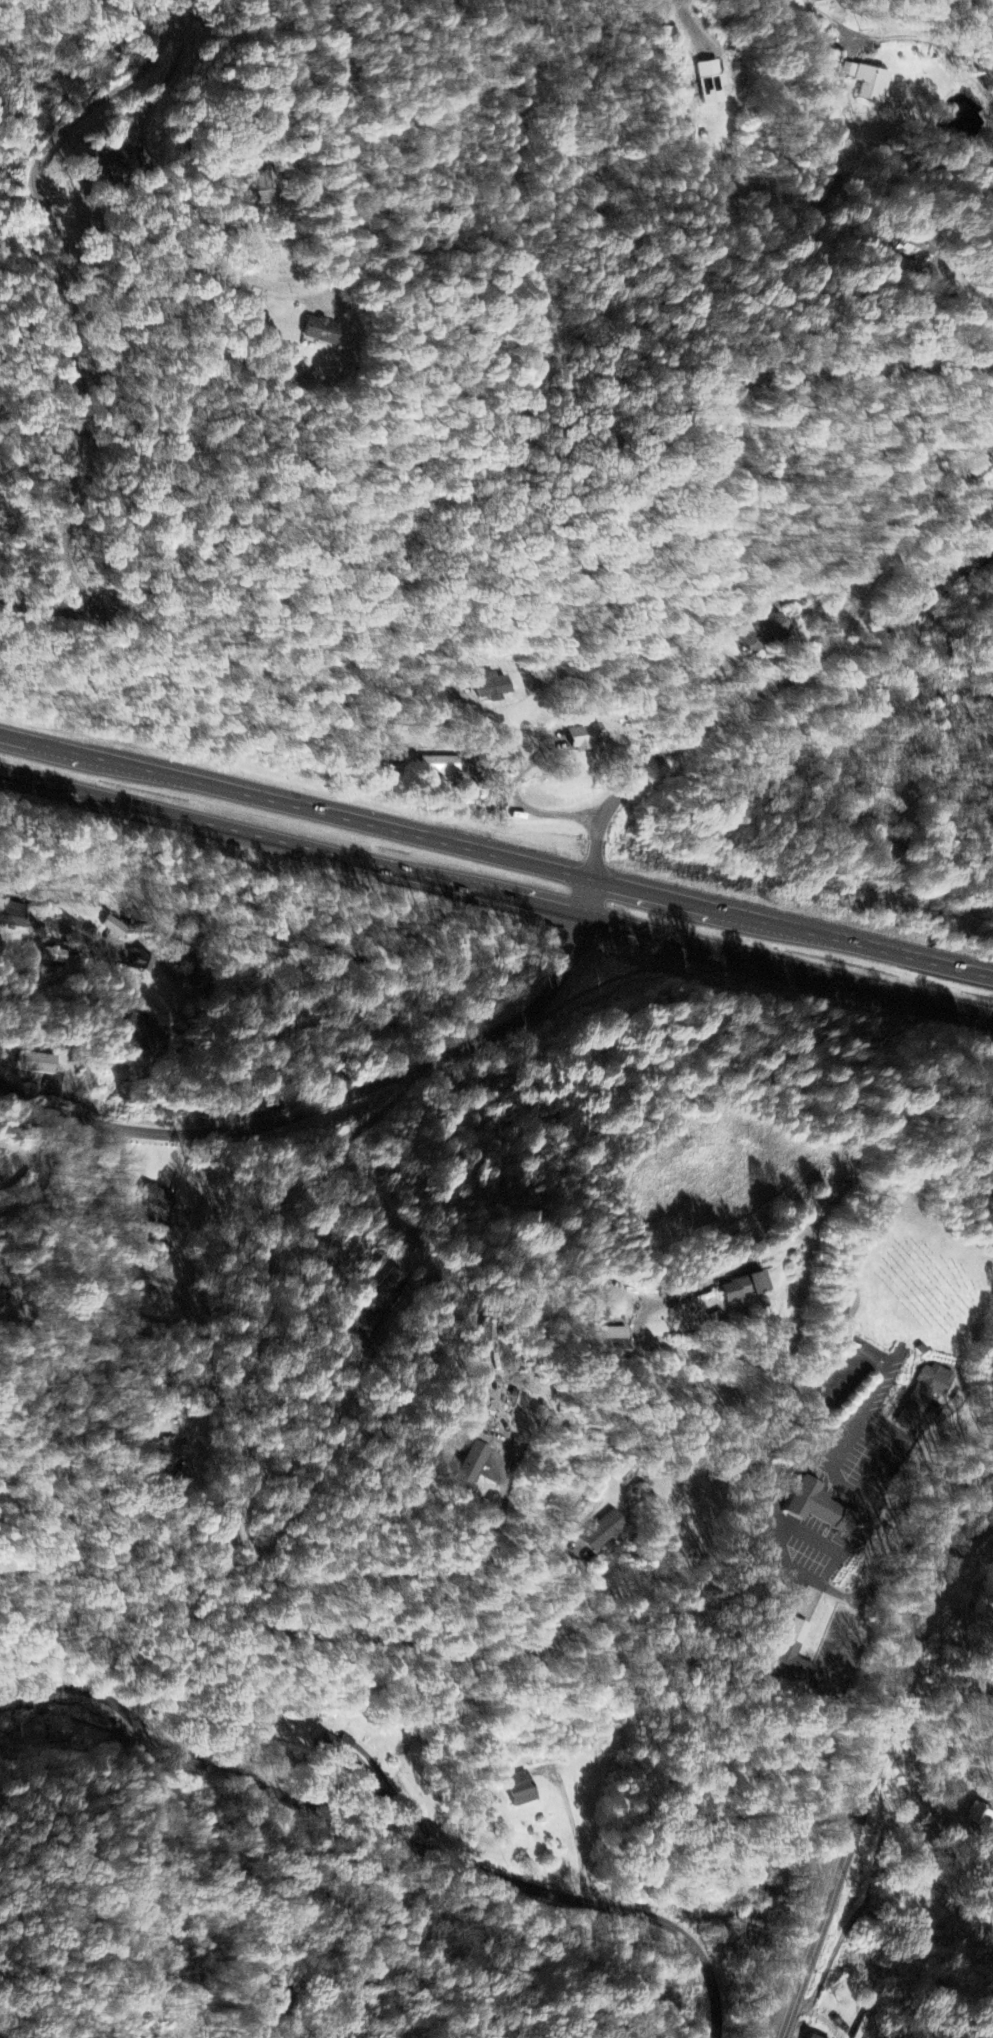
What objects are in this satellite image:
road: (979, 11)
road: (694, 27)
road: (930, 38)
building: (870, 85)
road: (369, 143)
building: (110, 160)
road: (728, 291)
building: (322, 331)
road: (72, 340)
building: (989, 450)
road: (911, 482)
building: (766, 635)
building: (495, 687)
road: (767, 692)
building: (586, 737)
road: (538, 758)
building: (448, 767)
road: (496, 854)
road: (496, 892)
building: (116, 928)
building: (55, 956)
road: (99, 959)
building: (141, 1035)
road: (326, 1098)
building: (238, 1106)
building: (156, 1197)
park: (929, 1277)
road: (805, 1284)
building: (739, 1285)
building: (388, 1290)
road: (237, 1388)
building: (925, 1395)
building: (468, 1465)
road: (865, 1499)
building: (823, 1510)
building: (596, 1542)
building: (793, 1657)
building: (63, 1729)
building: (936, 1751)
railway: (857, 1756)
road: (874, 1771)
building: (521, 1791)
building: (981, 1816)
road: (391, 1829)
road: (876, 1869)
building: (812, 2037)

